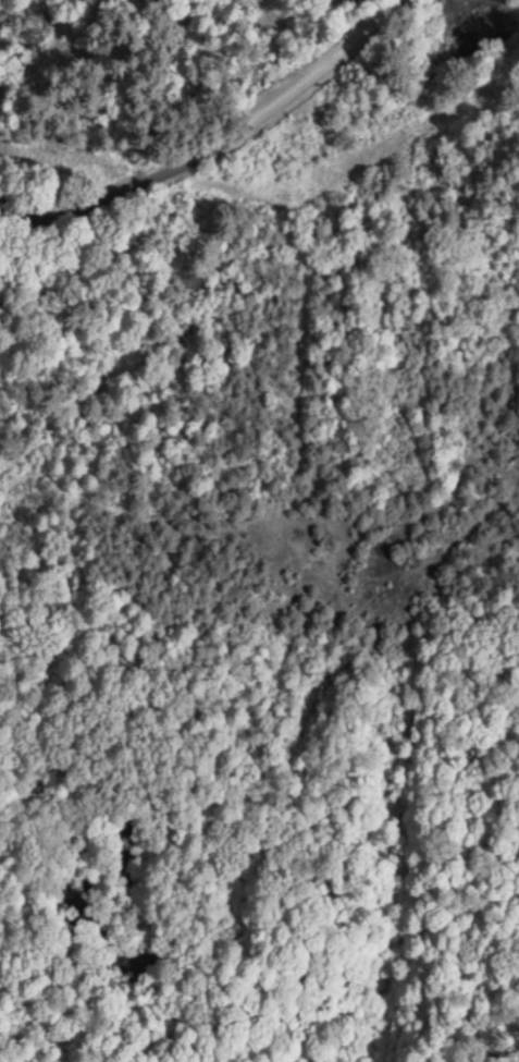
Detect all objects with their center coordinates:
road: (205, 130)

